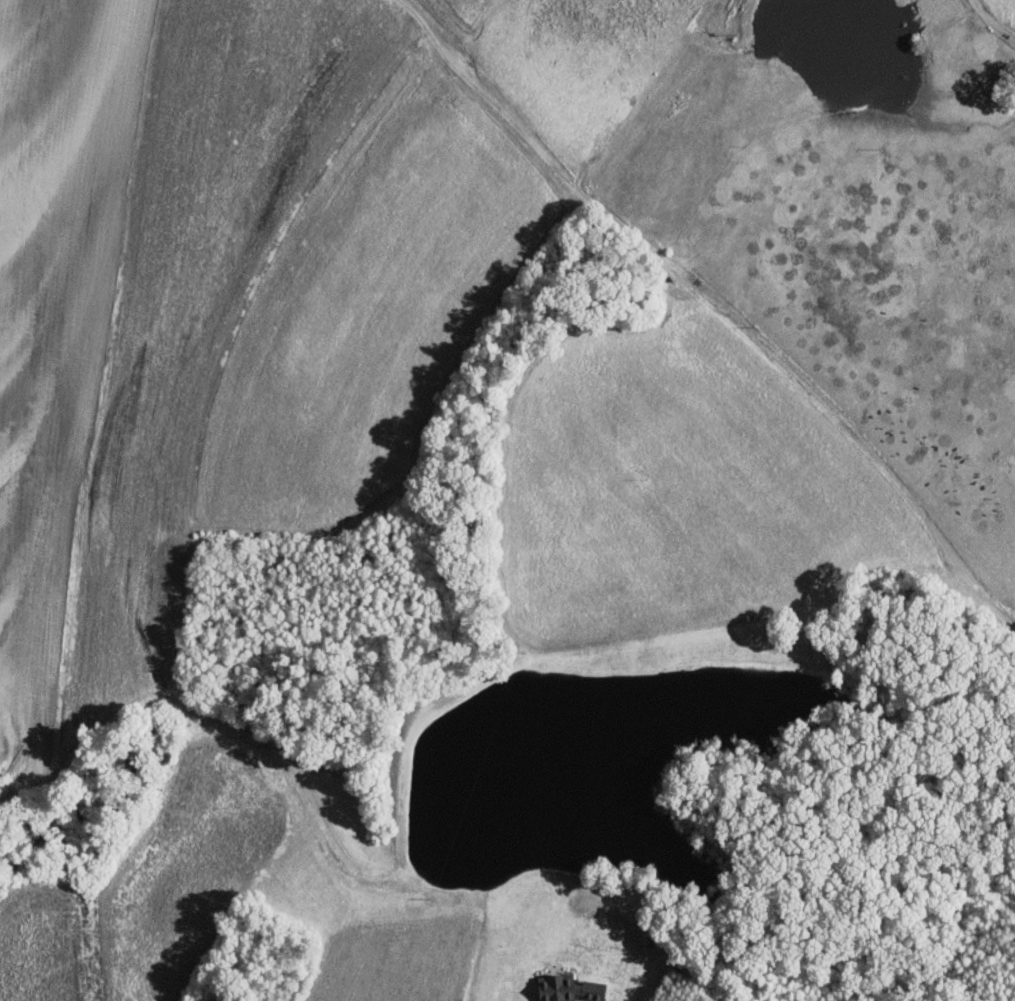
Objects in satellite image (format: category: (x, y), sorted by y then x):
road: (993, 21)
building: (567, 988)

